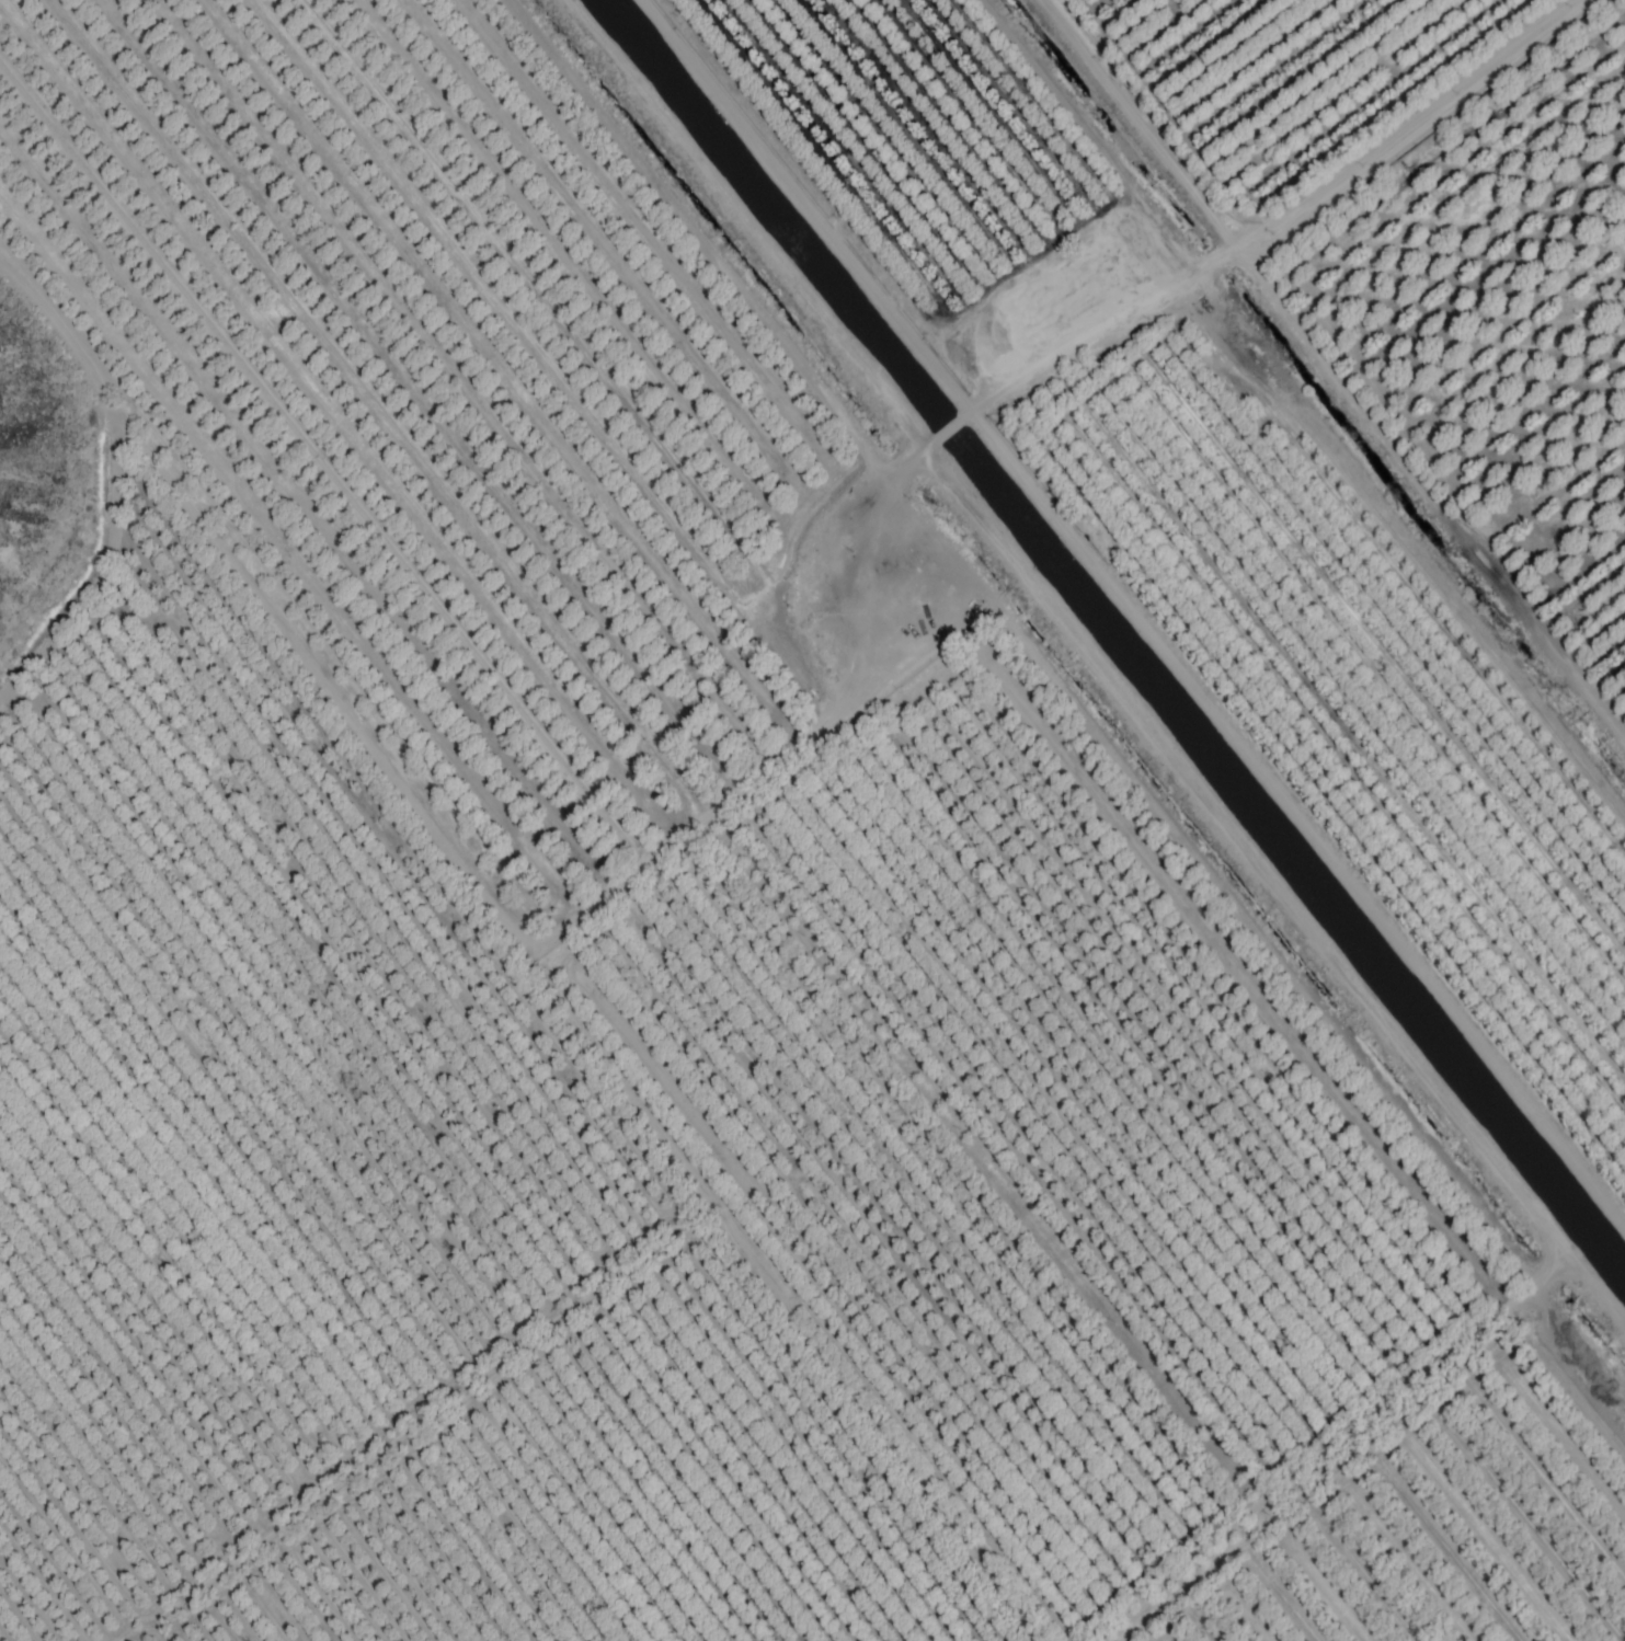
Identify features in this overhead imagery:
road: (1280, 223)
road: (745, 229)
road: (703, 251)
road: (948, 433)
road: (866, 553)
road: (1133, 612)
road: (1433, 1082)
road: (1583, 1275)

